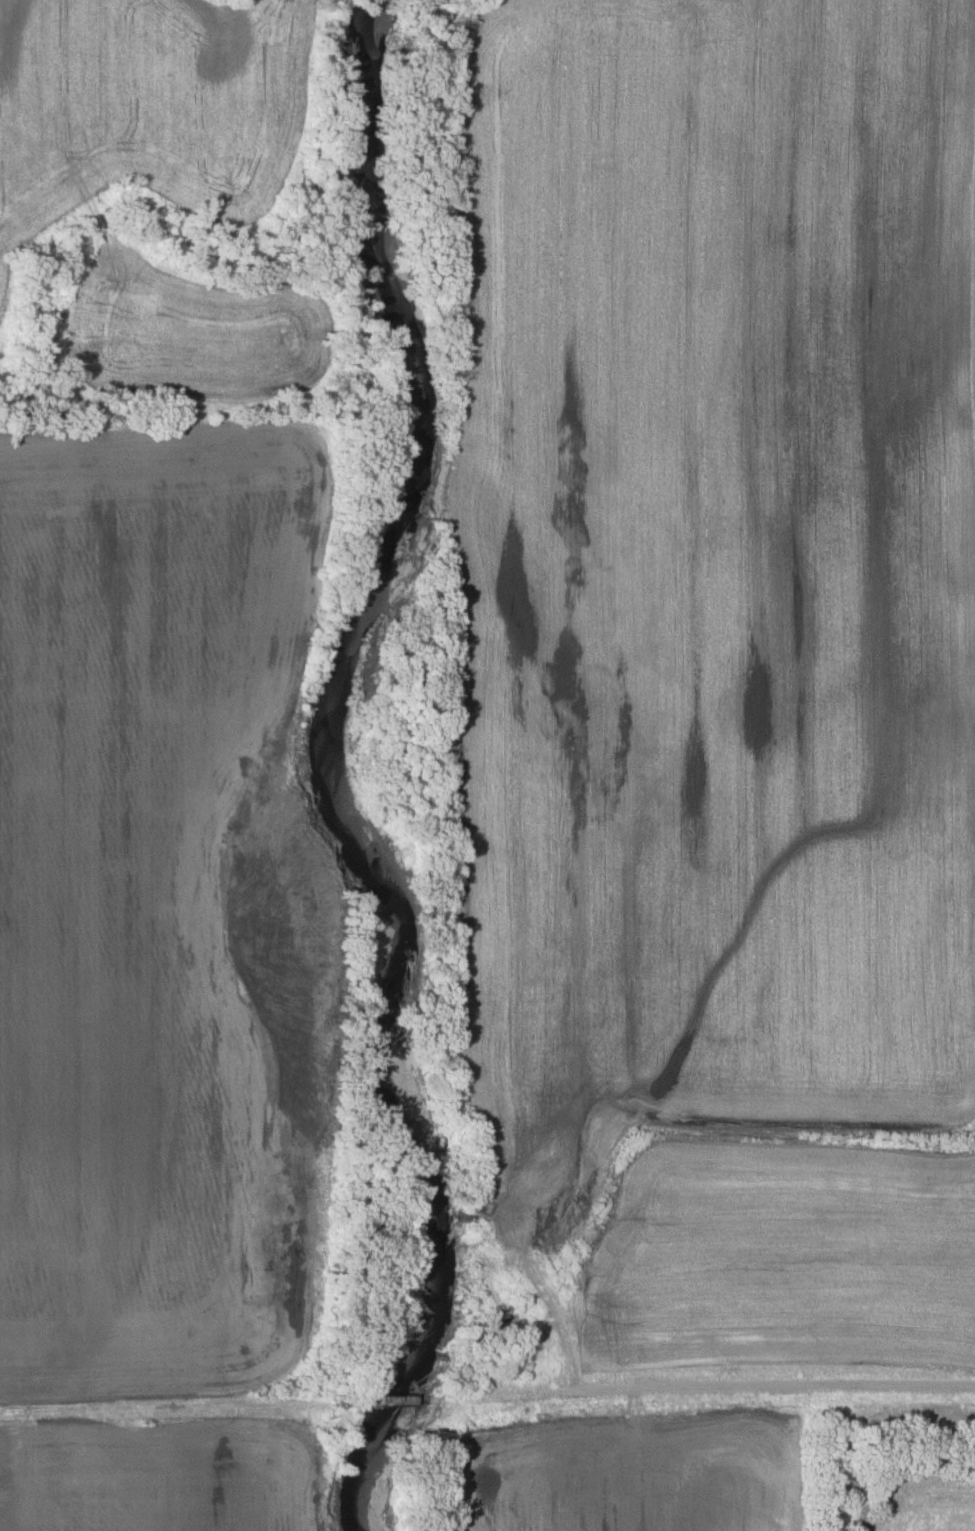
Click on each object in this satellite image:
road: (702, 1387)
road: (384, 1401)
road: (168, 1403)

